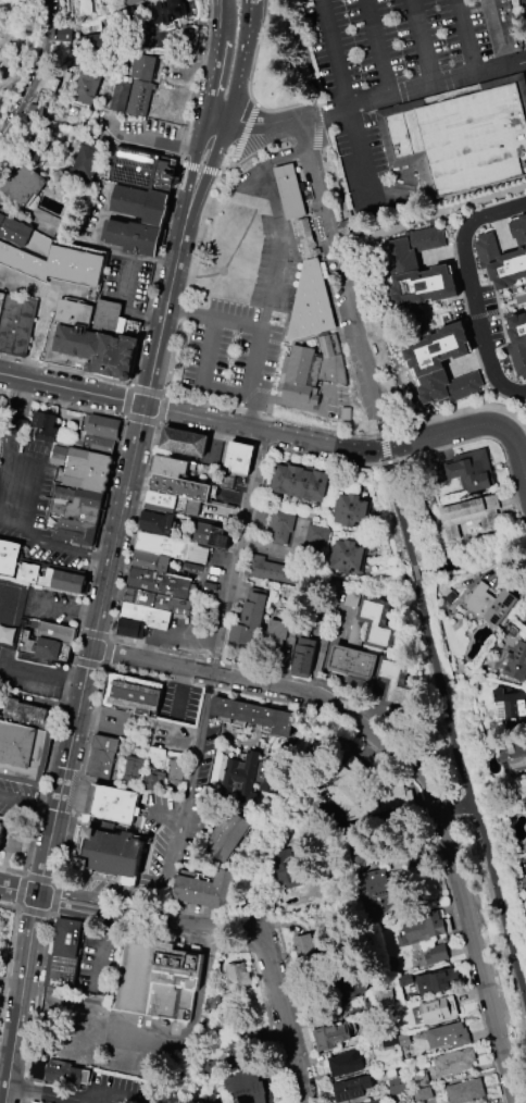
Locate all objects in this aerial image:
building: (129, 2)
building: (166, 11)
building: (113, 18)
road: (226, 26)
building: (499, 26)
building: (64, 34)
road: (468, 37)
building: (88, 39)
parking lot: (389, 41)
road: (424, 42)
road: (302, 44)
road: (377, 49)
road: (246, 61)
building: (142, 67)
road: (34, 72)
road: (201, 83)
road: (217, 84)
road: (252, 84)
building: (85, 86)
building: (117, 96)
building: (137, 97)
road: (379, 100)
road: (348, 106)
road: (222, 117)
road: (316, 125)
parking lot: (138, 126)
road: (243, 131)
road: (302, 136)
building: (460, 136)
road: (143, 138)
parking lot: (360, 149)
road: (258, 150)
road: (284, 156)
road: (314, 158)
road: (311, 159)
building: (85, 162)
road: (228, 168)
building: (142, 170)
road: (202, 170)
building: (21, 182)
road: (190, 182)
road: (204, 185)
building: (288, 191)
building: (139, 203)
road: (429, 214)
road: (304, 216)
road: (446, 226)
building: (341, 227)
building: (14, 231)
building: (133, 236)
parking lot: (265, 239)
building: (302, 239)
building: (500, 241)
road: (238, 243)
road: (280, 249)
building: (504, 256)
building: (57, 264)
building: (416, 269)
road: (159, 275)
parking lot: (129, 280)
road: (191, 283)
road: (471, 284)
road: (210, 293)
road: (347, 296)
building: (0, 302)
road: (242, 302)
building: (310, 303)
road: (133, 311)
road: (42, 313)
road: (191, 314)
building: (16, 322)
road: (237, 324)
building: (88, 339)
building: (517, 342)
parking lot: (234, 348)
road: (256, 348)
road: (477, 360)
building: (441, 364)
building: (310, 370)
road: (66, 371)
road: (202, 380)
road: (249, 383)
road: (150, 389)
road: (130, 401)
road: (63, 404)
road: (517, 405)
traffic signals: (147, 407)
road: (164, 408)
road: (456, 412)
road: (253, 413)
building: (1, 417)
road: (143, 419)
road: (274, 419)
building: (43, 425)
road: (240, 425)
building: (18, 426)
building: (102, 426)
road: (483, 437)
building: (183, 442)
road: (514, 442)
building: (102, 445)
road: (385, 446)
road: (274, 447)
building: (238, 458)
building: (171, 466)
building: (87, 470)
building: (467, 471)
building: (298, 482)
building: (179, 487)
road: (12, 500)
parking lot: (32, 501)
building: (171, 504)
building: (85, 506)
building: (351, 510)
road: (398, 512)
building: (467, 515)
road: (104, 524)
road: (524, 524)
building: (280, 526)
building: (183, 528)
road: (136, 530)
building: (77, 532)
building: (316, 538)
building: (171, 547)
road: (241, 554)
building: (347, 556)
building: (9, 557)
building: (149, 561)
road: (413, 569)
building: (273, 570)
building: (50, 578)
building: (158, 583)
building: (156, 600)
building: (488, 604)
parking lot: (53, 606)
road: (68, 607)
building: (248, 619)
building: (140, 620)
building: (371, 625)
building: (54, 632)
road: (96, 635)
road: (176, 637)
building: (274, 645)
road: (78, 646)
building: (43, 647)
road: (107, 653)
building: (302, 657)
building: (352, 662)
building: (516, 662)
road: (89, 665)
road: (235, 665)
road: (33, 667)
road: (140, 673)
road: (76, 676)
road: (86, 676)
parking lot: (29, 677)
road: (181, 680)
road: (195, 683)
building: (393, 683)
road: (208, 684)
road: (281, 686)
building: (130, 694)
road: (180, 694)
road: (266, 696)
road: (50, 703)
building: (512, 707)
building: (29, 714)
road: (327, 714)
building: (253, 715)
road: (97, 717)
road: (386, 718)
parking lot: (115, 723)
road: (350, 730)
road: (184, 742)
road: (413, 746)
building: (22, 754)
building: (101, 756)
building: (512, 756)
road: (50, 768)
building: (154, 773)
building: (250, 774)
road: (80, 776)
building: (352, 789)
road: (469, 792)
building: (396, 796)
building: (110, 803)
road: (28, 805)
road: (458, 810)
road: (166, 814)
building: (1, 831)
building: (226, 836)
road: (178, 843)
road: (7, 848)
building: (412, 850)
building: (112, 854)
building: (290, 868)
road: (13, 872)
road: (41, 880)
building: (204, 889)
road: (22, 892)
building: (375, 897)
road: (54, 898)
road: (9, 906)
road: (138, 909)
road: (451, 909)
road: (35, 912)
road: (108, 914)
road: (103, 918)
road: (78, 919)
road: (233, 921)
road: (145, 922)
building: (425, 925)
road: (229, 927)
road: (163, 928)
road: (193, 928)
road: (215, 928)
road: (245, 928)
road: (240, 929)
road: (225, 930)
road: (239, 932)
road: (252, 934)
road: (272, 937)
road: (249, 942)
road: (476, 946)
building: (304, 949)
road: (103, 950)
road: (91, 952)
building: (435, 954)
road: (9, 963)
parking lot: (95, 967)
building: (62, 968)
building: (236, 977)
road: (256, 977)
building: (155, 979)
building: (436, 981)
building: (340, 986)
road: (296, 1000)
building: (212, 1003)
road: (36, 1008)
building: (433, 1011)
road: (193, 1018)
road: (284, 1020)
parking lot: (148, 1036)
building: (330, 1036)
building: (446, 1036)
building: (230, 1040)
building: (389, 1042)
road: (275, 1052)
road: (7, 1055)
building: (452, 1062)
building: (345, 1063)
building: (58, 1070)
building: (418, 1080)
building: (396, 1085)
building: (247, 1086)
building: (350, 1088)
parking lot: (111, 1089)
building: (463, 1091)
road: (113, 1092)
road: (51, 1093)
building: (422, 1094)
road: (3, 1098)
building: (376, 1102)

